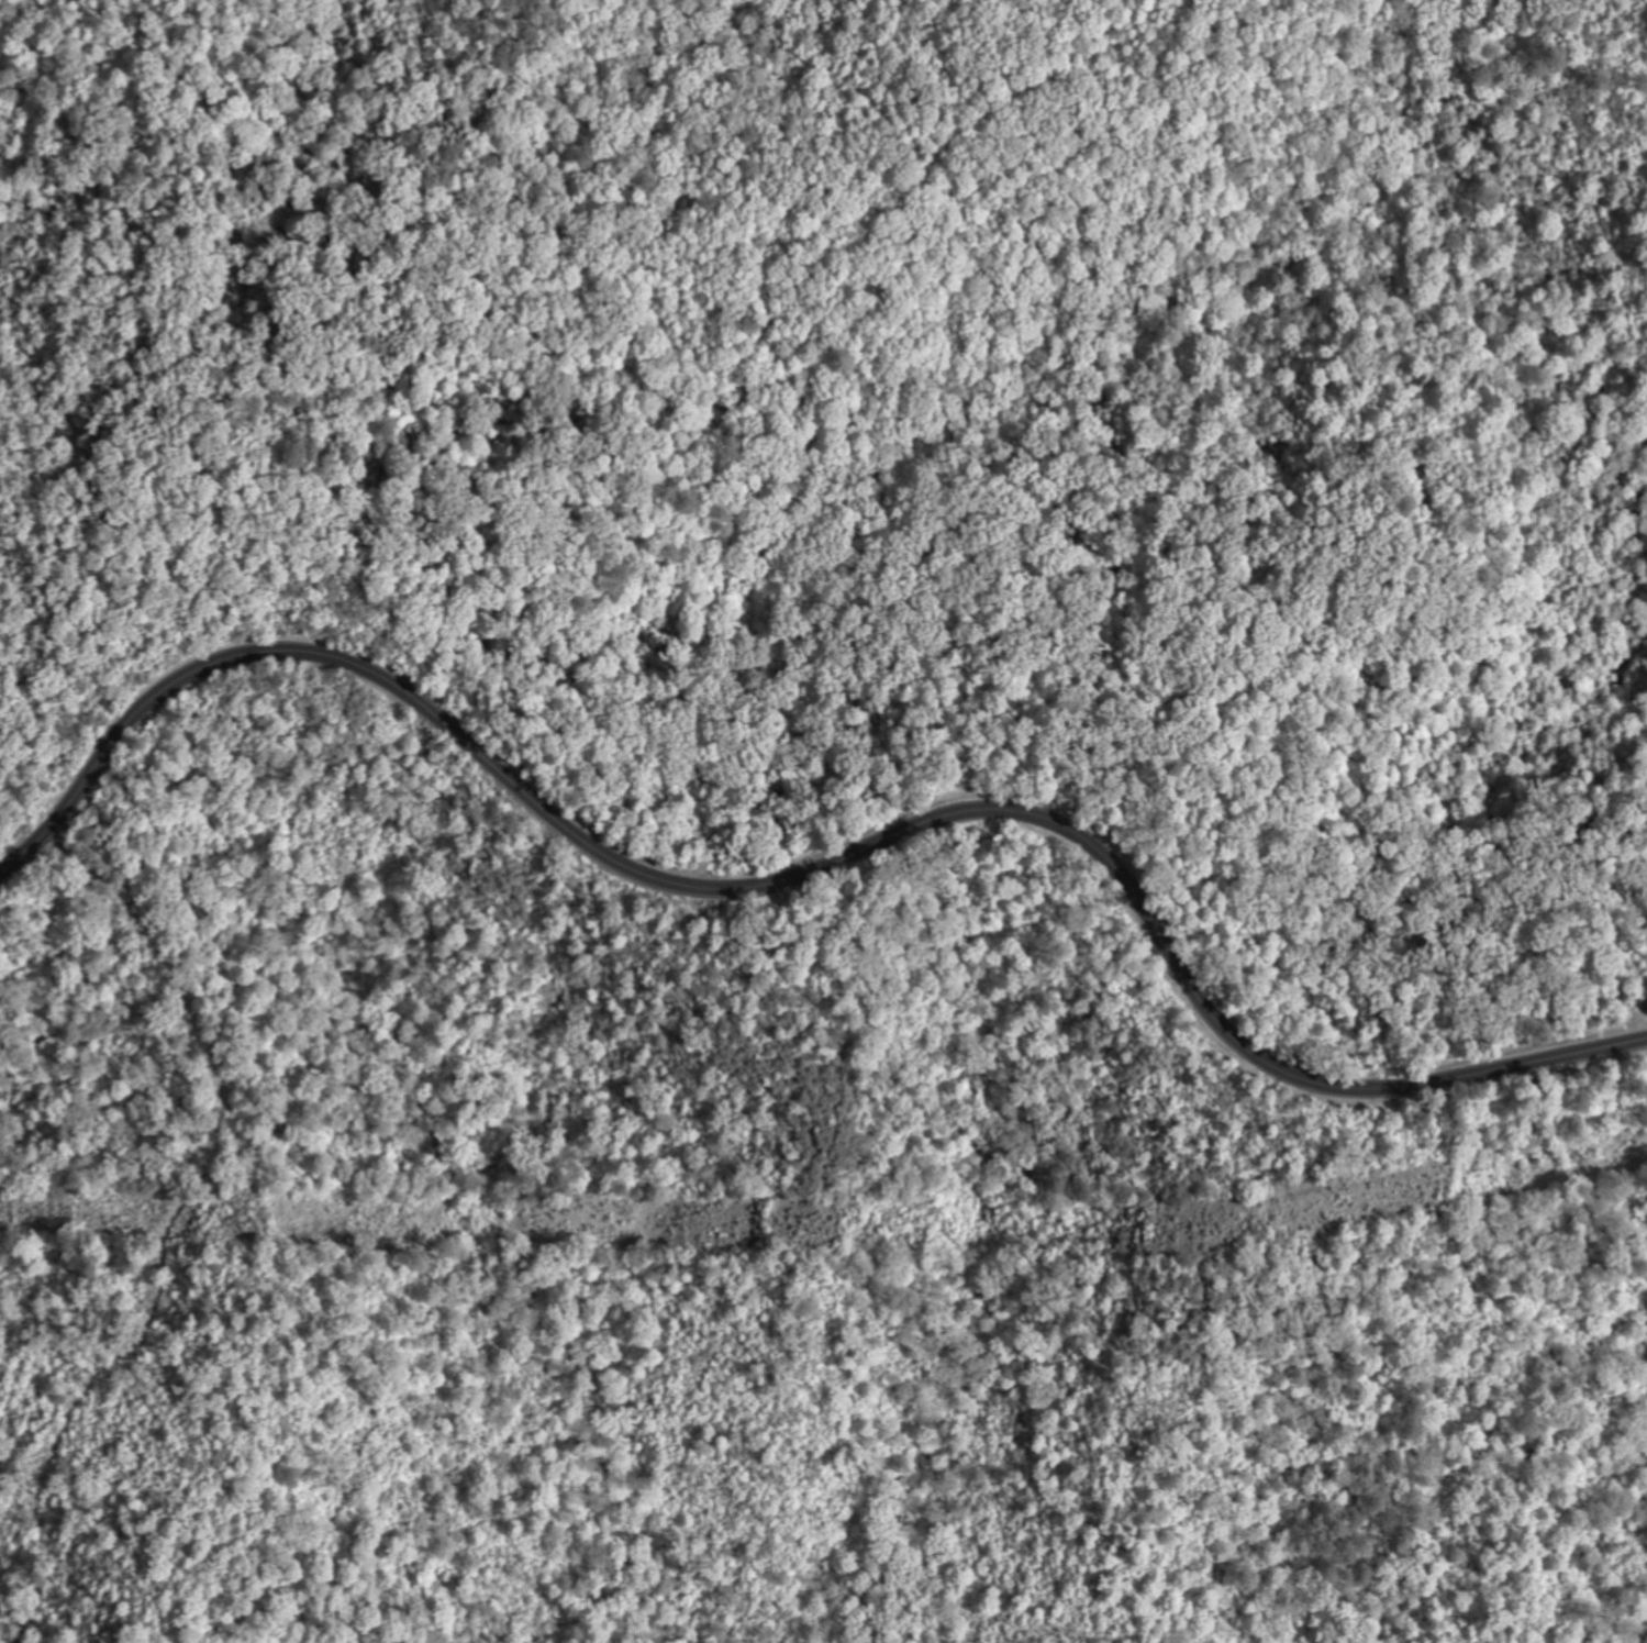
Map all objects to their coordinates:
road: (805, 874)

